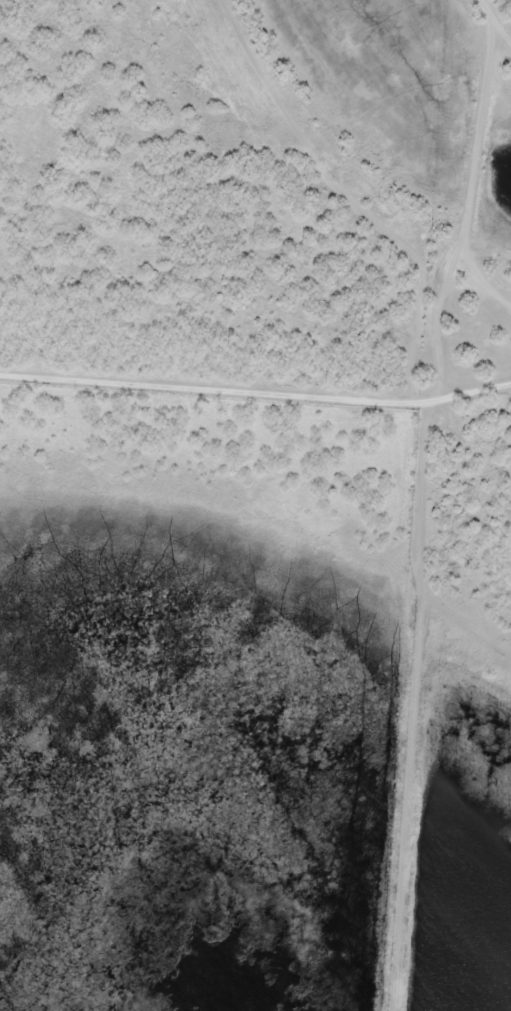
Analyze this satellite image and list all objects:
road: (348, 378)

